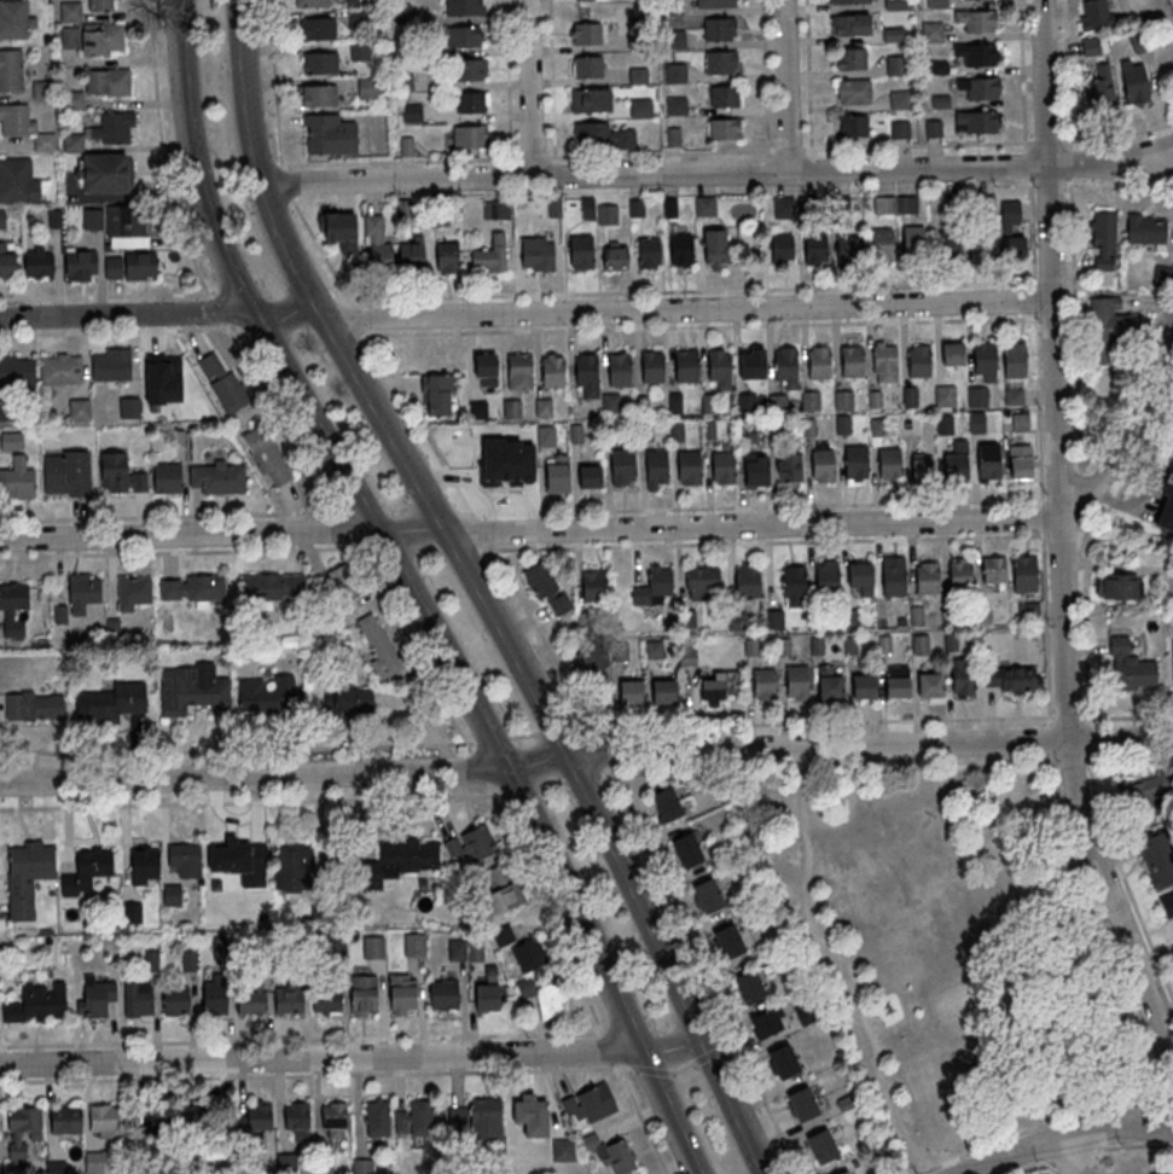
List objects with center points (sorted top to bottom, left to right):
building: (582, 0)
building: (849, 1)
road: (1171, 2)
building: (310, 4)
building: (714, 4)
building: (936, 4)
building: (99, 6)
road: (1157, 6)
building: (464, 7)
building: (1094, 13)
building: (13, 19)
building: (976, 19)
building: (849, 24)
building: (317, 28)
building: (719, 28)
building: (931, 30)
building: (586, 33)
road: (1160, 33)
building: (893, 34)
building: (463, 37)
building: (103, 40)
building: (1091, 45)
building: (359, 51)
building: (976, 53)
building: (850, 58)
building: (318, 62)
building: (719, 62)
building: (895, 64)
building: (587, 65)
building: (470, 70)
building: (10, 71)
building: (674, 71)
road: (1065, 75)
road: (1022, 76)
road: (763, 79)
road: (809, 79)
building: (1133, 80)
building: (106, 82)
road: (509, 82)
road: (552, 82)
road: (274, 85)
road: (785, 85)
building: (366, 87)
building: (979, 87)
road: (525, 88)
building: (39, 89)
building: (1099, 89)
building: (852, 91)
building: (318, 94)
building: (725, 95)
building: (591, 99)
building: (899, 99)
building: (71, 100)
building: (470, 103)
building: (674, 105)
building: (640, 106)
building: (979, 120)
building: (21, 126)
building: (852, 126)
building: (111, 128)
building: (724, 128)
building: (933, 128)
building: (900, 129)
building: (320, 133)
road: (1117, 135)
building: (469, 136)
building: (602, 136)
road: (1047, 143)
road: (655, 155)
road: (1070, 164)
road: (767, 165)
road: (812, 165)
road: (1027, 165)
road: (267, 168)
road: (1125, 169)
road: (556, 170)
road: (512, 172)
building: (104, 173)
road: (718, 173)
building: (17, 181)
road: (1032, 184)
road: (286, 185)
road: (1049, 185)
road: (1117, 187)
building: (894, 204)
building: (983, 204)
building: (704, 205)
building: (554, 207)
building: (587, 207)
building: (783, 207)
building: (838, 207)
building: (495, 209)
building: (606, 214)
building: (1, 219)
building: (91, 219)
building: (127, 222)
building: (341, 227)
building: (1145, 228)
building: (1010, 232)
road: (1032, 232)
building: (1102, 239)
building: (914, 240)
building: (882, 243)
building: (947, 244)
building: (982, 246)
building: (681, 248)
building: (782, 248)
building: (815, 248)
building: (848, 248)
building: (580, 249)
building: (714, 249)
building: (536, 251)
building: (649, 251)
building: (489, 255)
building: (615, 255)
building: (411, 256)
building: (447, 256)
building: (381, 257)
building: (6, 258)
building: (37, 261)
building: (80, 263)
building: (129, 266)
road: (198, 275)
road: (1045, 281)
road: (518, 293)
road: (1034, 298)
road: (527, 313)
road: (1046, 318)
road: (1074, 327)
road: (518, 330)
building: (1109, 331)
building: (953, 351)
building: (985, 356)
building: (884, 359)
building: (852, 360)
building: (918, 360)
building: (1014, 360)
building: (754, 361)
building: (819, 361)
building: (785, 362)
building: (719, 364)
building: (686, 365)
building: (486, 366)
building: (652, 366)
building: (519, 367)
building: (110, 368)
building: (60, 370)
building: (619, 370)
building: (552, 371)
building: (17, 372)
building: (587, 373)
building: (222, 384)
road: (1130, 390)
building: (437, 394)
building: (908, 395)
building: (945, 395)
building: (975, 395)
building: (1014, 396)
building: (841, 399)
building: (875, 399)
building: (808, 400)
building: (674, 401)
building: (610, 402)
building: (708, 402)
building: (743, 402)
building: (641, 403)
building: (511, 407)
building: (541, 407)
building: (129, 408)
road: (1038, 408)
building: (477, 409)
building: (79, 411)
building: (976, 422)
building: (1020, 422)
building: (943, 423)
building: (842, 424)
building: (878, 426)
building: (676, 430)
building: (709, 430)
building: (609, 431)
building: (644, 431)
road: (1128, 432)
building: (511, 434)
building: (576, 434)
building: (546, 435)
building: (8, 442)
building: (267, 457)
building: (855, 459)
building: (623, 461)
building: (989, 461)
building: (1020, 461)
building: (889, 463)
building: (689, 464)
building: (823, 464)
building: (656, 465)
building: (722, 465)
building: (956, 466)
building: (922, 467)
building: (786, 469)
road: (449, 470)
building: (755, 470)
building: (524, 471)
building: (65, 473)
building: (118, 475)
building: (590, 475)
building: (557, 476)
building: (167, 478)
building: (216, 478)
building: (17, 480)
building: (1168, 486)
road: (1080, 487)
road: (1055, 498)
road: (751, 506)
road: (366, 511)
road: (395, 511)
road: (431, 511)
road: (173, 515)
road: (1040, 517)
road: (354, 528)
road: (532, 530)
road: (1065, 531)
road: (1056, 534)
road: (765, 541)
road: (394, 547)
road: (426, 547)
road: (460, 548)
road: (185, 552)
road: (1090, 556)
building: (993, 570)
building: (959, 571)
building: (1023, 573)
building: (825, 574)
building: (859, 576)
building: (927, 576)
building: (893, 577)
building: (342, 581)
building: (702, 583)
building: (745, 583)
building: (592, 586)
building: (794, 586)
building: (1119, 586)
building: (272, 587)
building: (545, 587)
building: (654, 587)
building: (192, 588)
road: (478, 592)
building: (82, 593)
building: (132, 593)
road: (407, 593)
building: (12, 609)
building: (773, 620)
building: (687, 621)
building: (377, 645)
building: (919, 645)
road: (412, 649)
building: (652, 649)
building: (686, 655)
building: (590, 658)
building: (1172, 664)
building: (1130, 668)
building: (963, 676)
building: (1011, 678)
building: (796, 681)
building: (896, 681)
building: (829, 682)
building: (763, 684)
building: (863, 684)
building: (929, 684)
building: (719, 685)
building: (192, 687)
building: (663, 691)
building: (631, 692)
building: (266, 694)
building: (348, 701)
building: (110, 703)
building: (34, 705)
road: (1123, 715)
road: (1064, 716)
road: (813, 723)
road: (554, 732)
road: (523, 734)
road: (492, 739)
road: (1090, 742)
road: (237, 750)
road: (606, 754)
road: (586, 759)
road: (809, 759)
road: (1130, 760)
road: (1073, 761)
road: (478, 766)
road: (830, 769)
road: (581, 777)
road: (551, 785)
road: (521, 792)
building: (1140, 796)
road: (251, 802)
building: (666, 802)
road: (1064, 823)
building: (471, 843)
building: (686, 848)
building: (405, 856)
building: (1156, 856)
building: (237, 858)
building: (184, 859)
building: (144, 865)
building: (291, 867)
building: (87, 870)
building: (495, 874)
building: (27, 877)
road: (1125, 878)
building: (172, 894)
building: (708, 894)
building: (501, 897)
building: (1169, 903)
building: (132, 912)
building: (728, 940)
building: (414, 943)
building: (457, 949)
park: (950, 952)
building: (528, 954)
road: (849, 967)
road: (705, 969)
road: (576, 977)
building: (749, 986)
building: (95, 994)
building: (401, 994)
building: (443, 994)
building: (362, 995)
building: (487, 995)
building: (137, 996)
building: (544, 996)
building: (214, 998)
building: (288, 998)
park: (962, 998)
building: (251, 999)
building: (325, 999)
building: (42, 1000)
building: (175, 1000)
road: (872, 1019)
building: (767, 1021)
road: (314, 1038)
road: (669, 1046)
road: (732, 1046)
road: (708, 1053)
road: (318, 1057)
building: (784, 1060)
road: (683, 1067)
road: (651, 1070)
road: (314, 1074)
building: (803, 1103)
building: (585, 1105)
building: (186, 1115)
building: (529, 1115)
building: (65, 1117)
building: (259, 1117)
building: (457, 1117)
building: (486, 1117)
building: (376, 1118)
building: (414, 1118)
building: (105, 1120)
building: (296, 1120)
building: (333, 1121)
road: (1045, 1127)
building: (22, 1131)
road: (1068, 1137)
road: (0, 1145)
building: (823, 1145)
road: (1133, 1145)
building: (562, 1151)
building: (611, 1155)
road: (1069, 1155)
road: (1063, 1158)
building: (94, 1162)
road: (1027, 1168)
road: (1050, 1168)
road: (934, 1169)
building: (1163, 1169)
building: (844, 1172)

